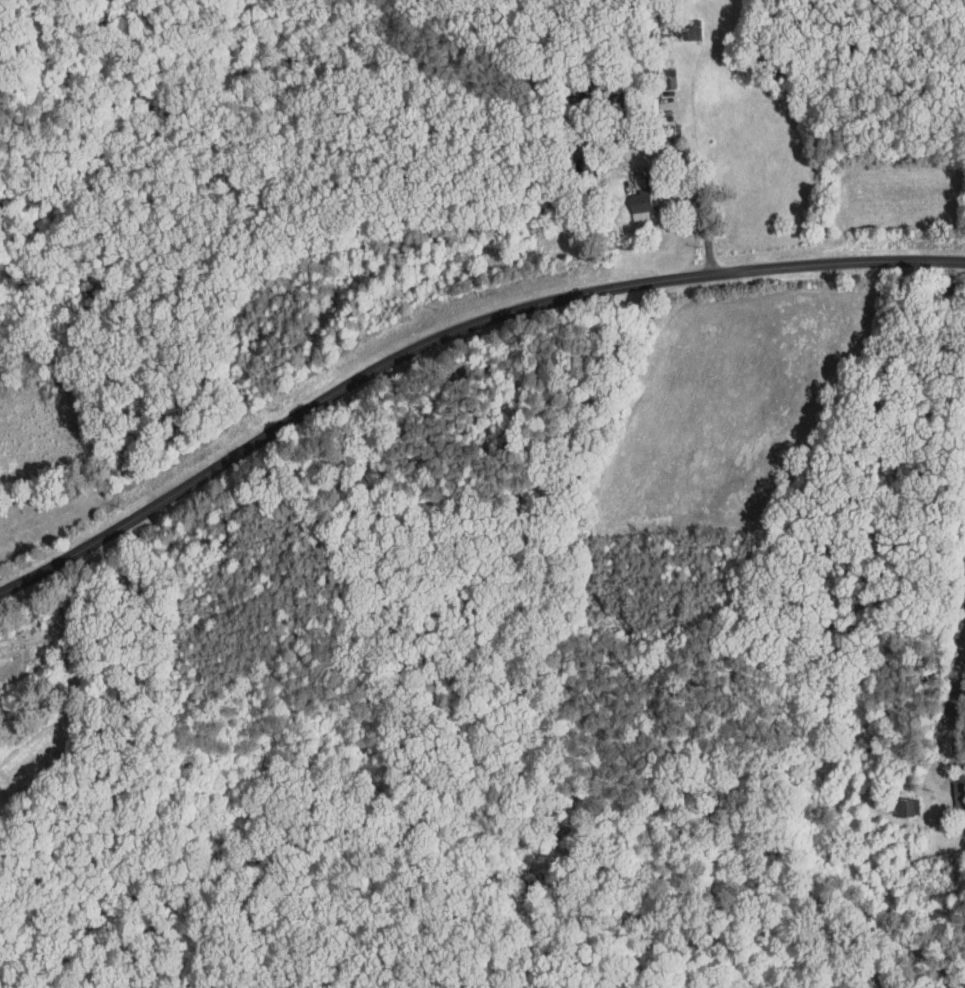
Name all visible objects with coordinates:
road: (695, 196)
road: (453, 336)
road: (957, 699)
building: (948, 785)
building: (894, 801)

